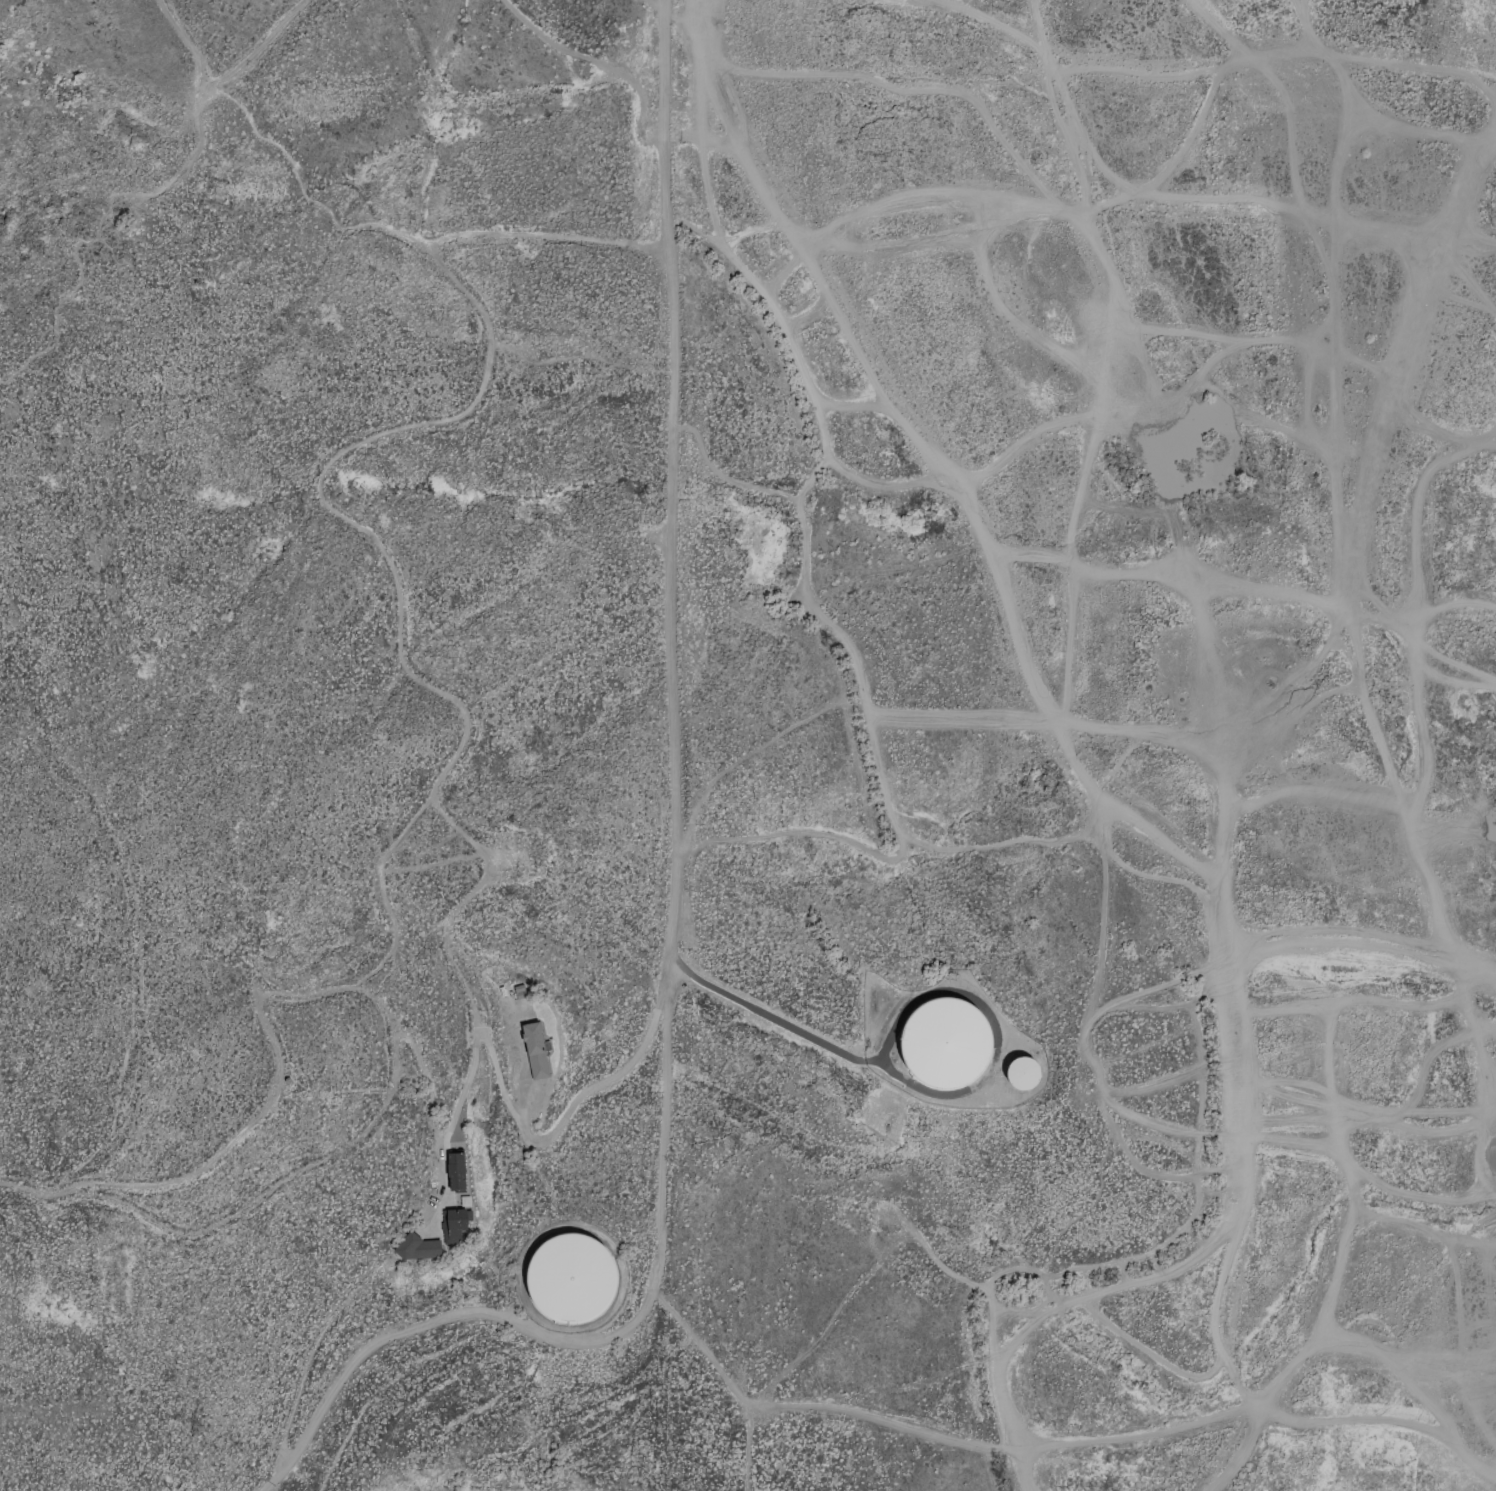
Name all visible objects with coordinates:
road: (673, 893)
road: (758, 1015)
building: (947, 1043)
storage tank: (947, 1043)
building: (534, 1050)
building: (1023, 1072)
storage tank: (1023, 1072)
road: (526, 1129)
building: (455, 1171)
building: (417, 1247)
building: (572, 1276)
storage tank: (572, 1276)

